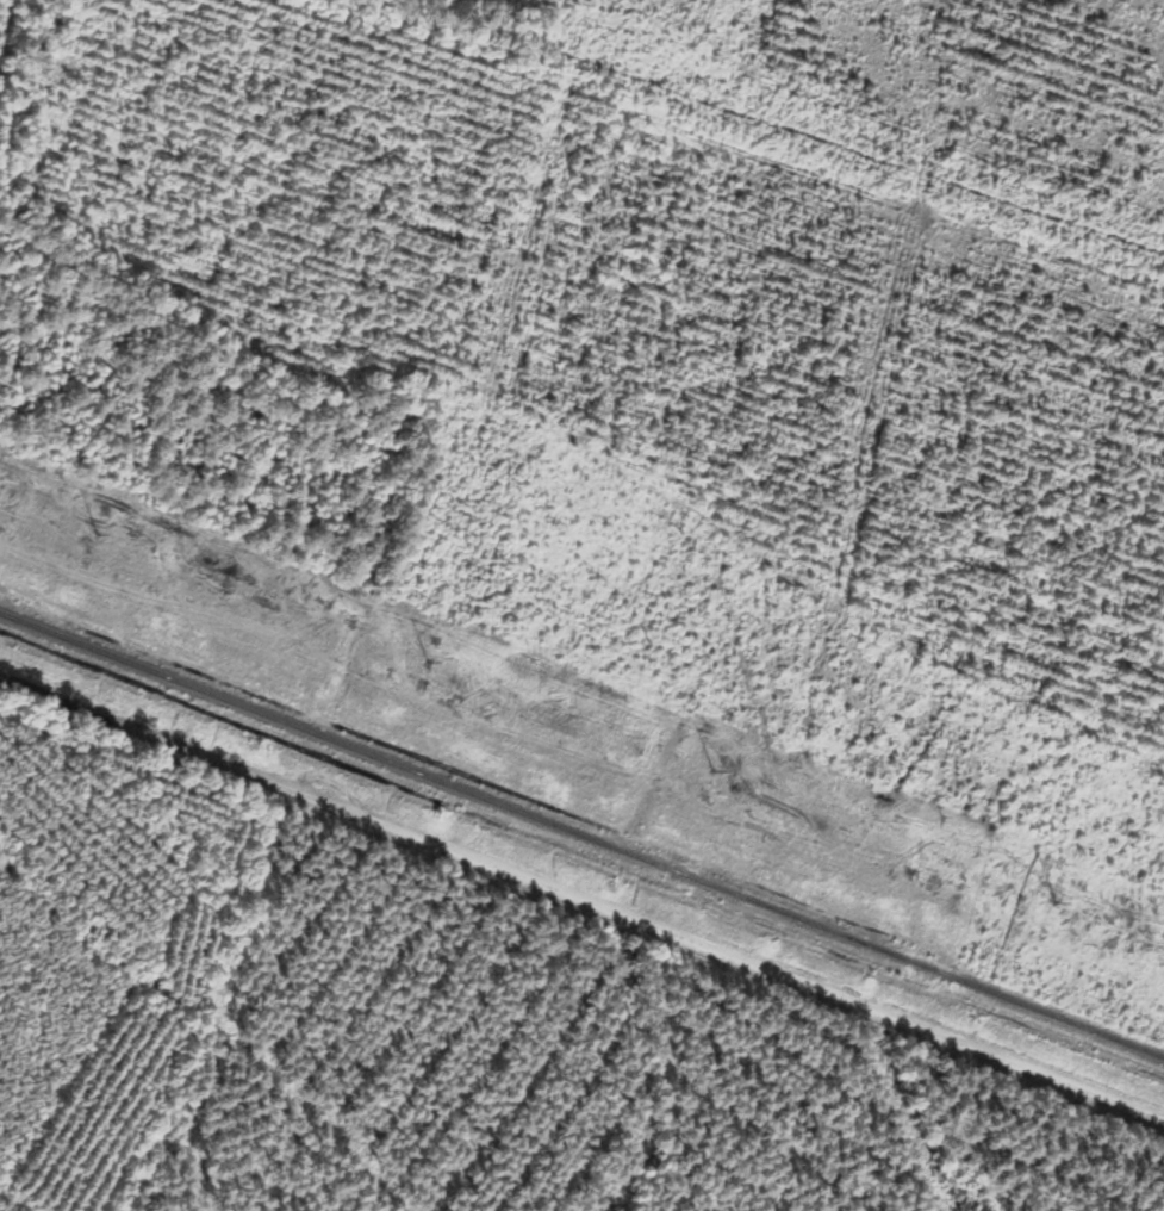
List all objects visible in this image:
railway: (581, 828)
road: (587, 878)

